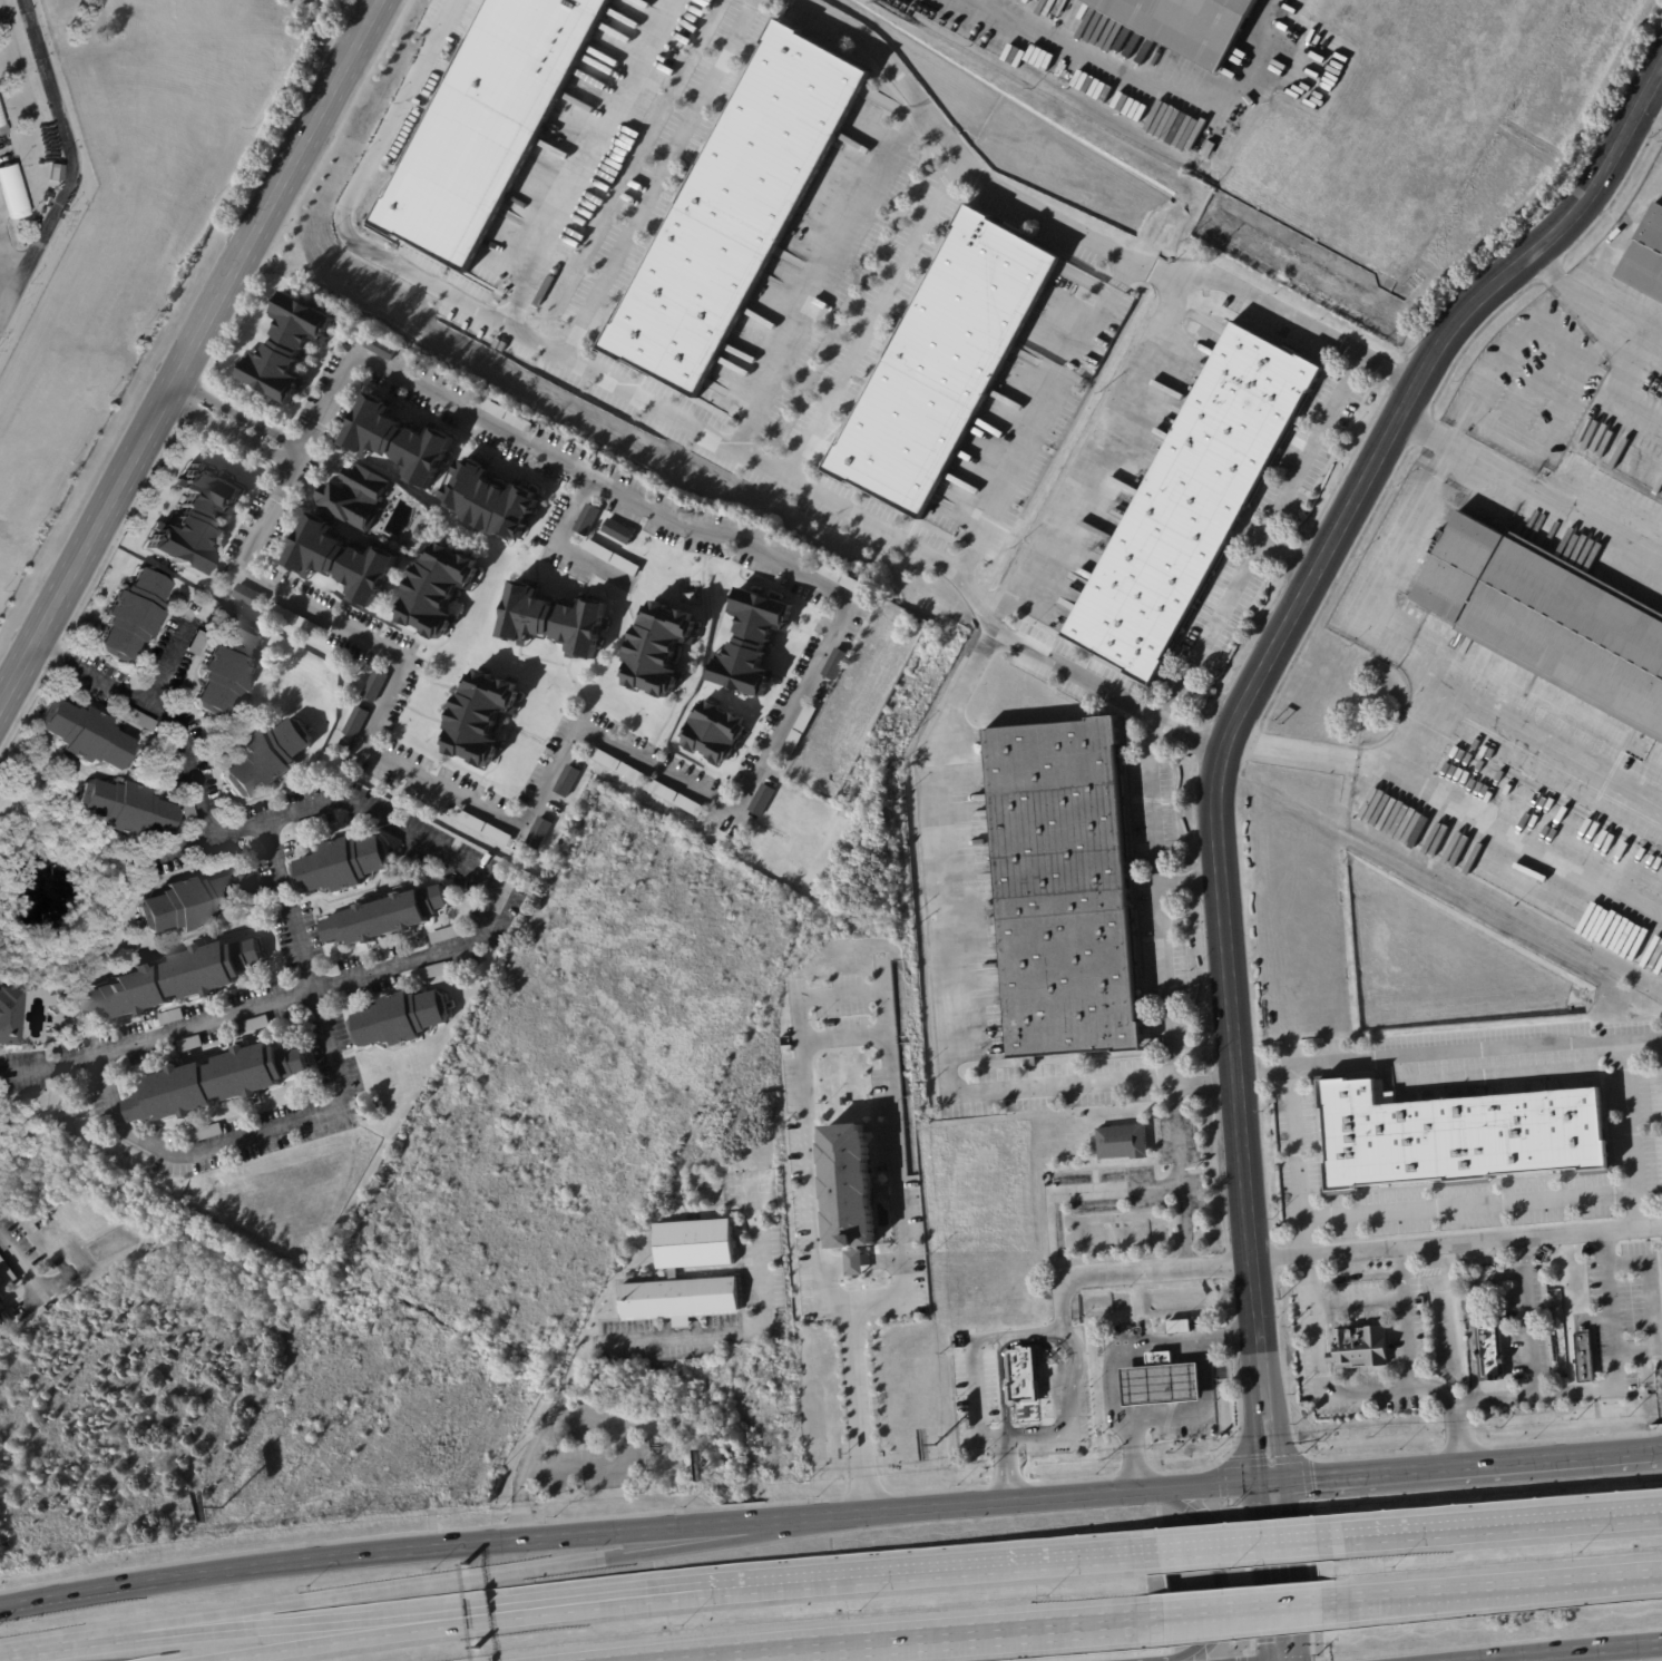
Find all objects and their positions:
building: (1184, 25)
road: (1654, 101)
building: (0, 123)
building: (486, 124)
building: (2, 129)
road: (71, 155)
road: (596, 165)
building: (56, 173)
road: (653, 178)
building: (12, 193)
building: (736, 208)
building: (3, 238)
road: (1104, 241)
building: (1645, 256)
road: (825, 276)
road: (3, 297)
road: (1591, 305)
road: (1279, 313)
road: (871, 315)
road: (534, 343)
building: (381, 348)
building: (286, 349)
road: (1507, 351)
road: (195, 359)
building: (944, 362)
parking lot: (1526, 384)
road: (1526, 384)
road: (244, 413)
building: (505, 416)
road: (1552, 417)
road: (232, 436)
building: (398, 441)
parking lot: (1310, 446)
road: (1095, 452)
road: (299, 457)
road: (1531, 489)
building: (355, 498)
building: (490, 501)
building: (1194, 502)
road: (1527, 512)
building: (194, 519)
building: (587, 520)
building: (420, 530)
building: (617, 531)
road: (1263, 537)
road: (560, 544)
road: (737, 545)
road: (1293, 550)
building: (612, 558)
building: (341, 559)
building: (840, 578)
road: (1375, 579)
road: (1492, 585)
building: (437, 590)
building: (250, 597)
parking lot: (1412, 613)
building: (131, 614)
building: (1549, 618)
building: (553, 621)
building: (295, 622)
building: (750, 644)
building: (657, 649)
road: (55, 652)
building: (835, 664)
road: (169, 668)
building: (228, 670)
road: (1081, 674)
building: (374, 686)
road: (383, 700)
road: (1244, 712)
building: (480, 717)
building: (355, 723)
building: (712, 733)
building: (799, 733)
building: (82, 734)
road: (1546, 752)
road: (1379, 756)
building: (266, 759)
building: (618, 768)
building: (567, 782)
building: (675, 799)
building: (762, 800)
building: (125, 809)
building: (482, 828)
building: (1613, 829)
building: (538, 834)
road: (175, 853)
road: (1500, 864)
building: (341, 866)
building: (250, 883)
road: (1193, 886)
road: (501, 890)
building: (1063, 890)
building: (184, 905)
building: (385, 918)
building: (446, 934)
crop: (1441, 960)
building: (430, 971)
building: (172, 981)
road: (1167, 991)
road: (842, 997)
road: (945, 997)
building: (9, 1015)
building: (170, 1016)
building: (399, 1019)
road: (845, 1040)
road: (1450, 1055)
building: (215, 1085)
road: (333, 1110)
building: (205, 1132)
road: (1630, 1134)
building: (1459, 1136)
building: (1123, 1143)
road: (897, 1157)
road: (810, 1162)
road: (1297, 1165)
building: (849, 1185)
building: (883, 1191)
road: (1078, 1195)
road: (1468, 1204)
road: (1362, 1254)
road: (861, 1261)
building: (854, 1262)
road: (21, 1264)
building: (7, 1271)
building: (673, 1272)
building: (630, 1274)
building: (0, 1298)
road: (1377, 1300)
road: (1064, 1305)
road: (1469, 1313)
road: (1525, 1318)
building: (2, 1319)
building: (1180, 1326)
road: (1405, 1344)
road: (627, 1345)
building: (1359, 1347)
road: (1636, 1350)
building: (1492, 1352)
road: (975, 1359)
road: (1120, 1359)
building: (1586, 1359)
building: (1021, 1376)
building: (1162, 1385)
road: (1582, 1391)
road: (1320, 1395)
road: (1203, 1408)
road: (1069, 1410)
road: (863, 1411)
road: (1658, 1447)
road: (1461, 1464)
road: (1009, 1469)
traffic signals: (1270, 1479)
road: (1069, 1494)
road: (1488, 1523)
road: (1238, 1544)
road: (433, 1547)
road: (1214, 1564)
road: (1277, 1570)
road: (824, 1579)
road: (434, 1583)
road: (1490, 1590)
road: (1243, 1612)
road: (270, 1626)
road: (353, 1636)
road: (917, 1639)
road: (26, 1652)
road: (1577, 1652)

